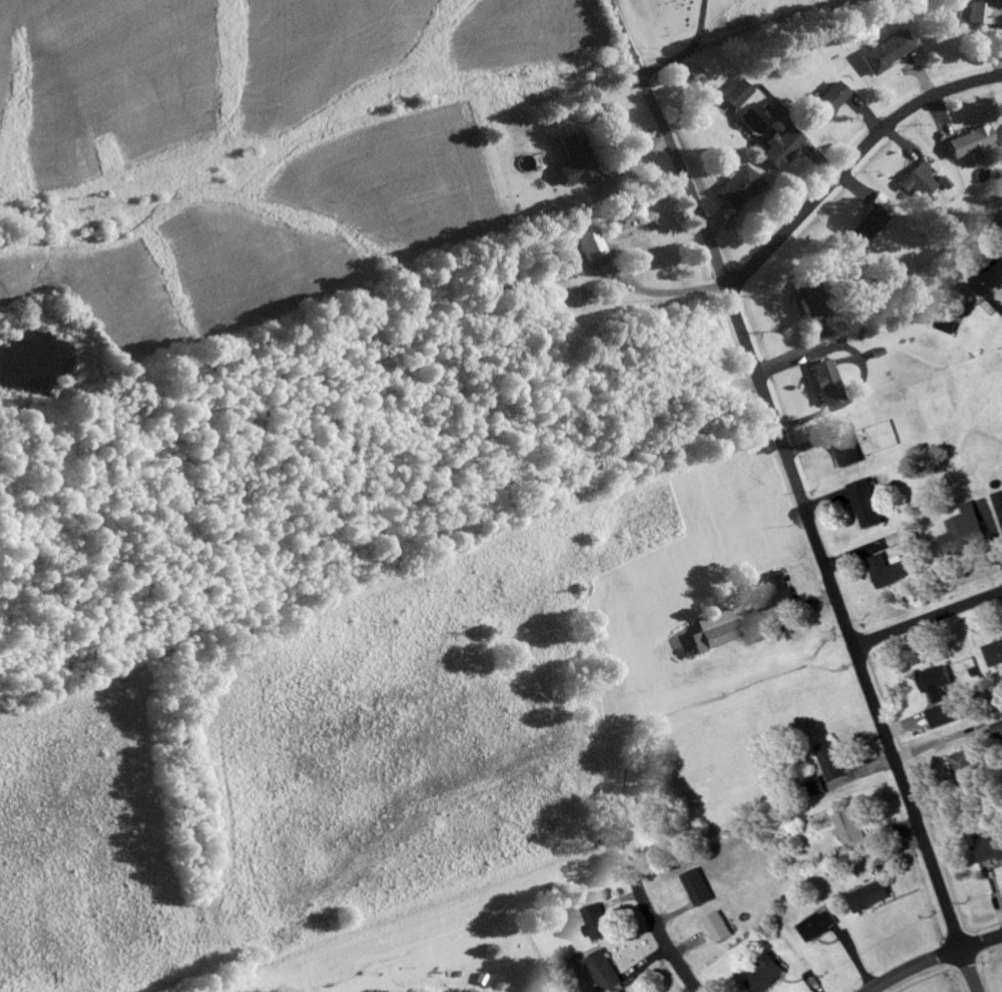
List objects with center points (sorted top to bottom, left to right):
building: (982, 14)
park: (673, 21)
road: (701, 26)
road: (735, 36)
building: (884, 53)
building: (735, 95)
building: (826, 102)
building: (968, 145)
building: (778, 147)
building: (573, 158)
road: (849, 162)
building: (916, 183)
building: (735, 188)
building: (865, 222)
building: (986, 278)
building: (806, 297)
building: (945, 321)
building: (850, 327)
building: (822, 383)
building: (845, 446)
road: (798, 494)
building: (865, 503)
building: (963, 532)
building: (885, 571)
building: (770, 590)
road: (927, 620)
building: (716, 629)
building: (932, 679)
building: (946, 714)
building: (997, 731)
building: (827, 762)
building: (963, 770)
building: (848, 829)
building: (987, 849)
building: (693, 888)
building: (868, 897)
building: (593, 922)
building: (814, 925)
building: (713, 928)
road: (662, 940)
road: (934, 959)
building: (601, 971)
building: (761, 976)

